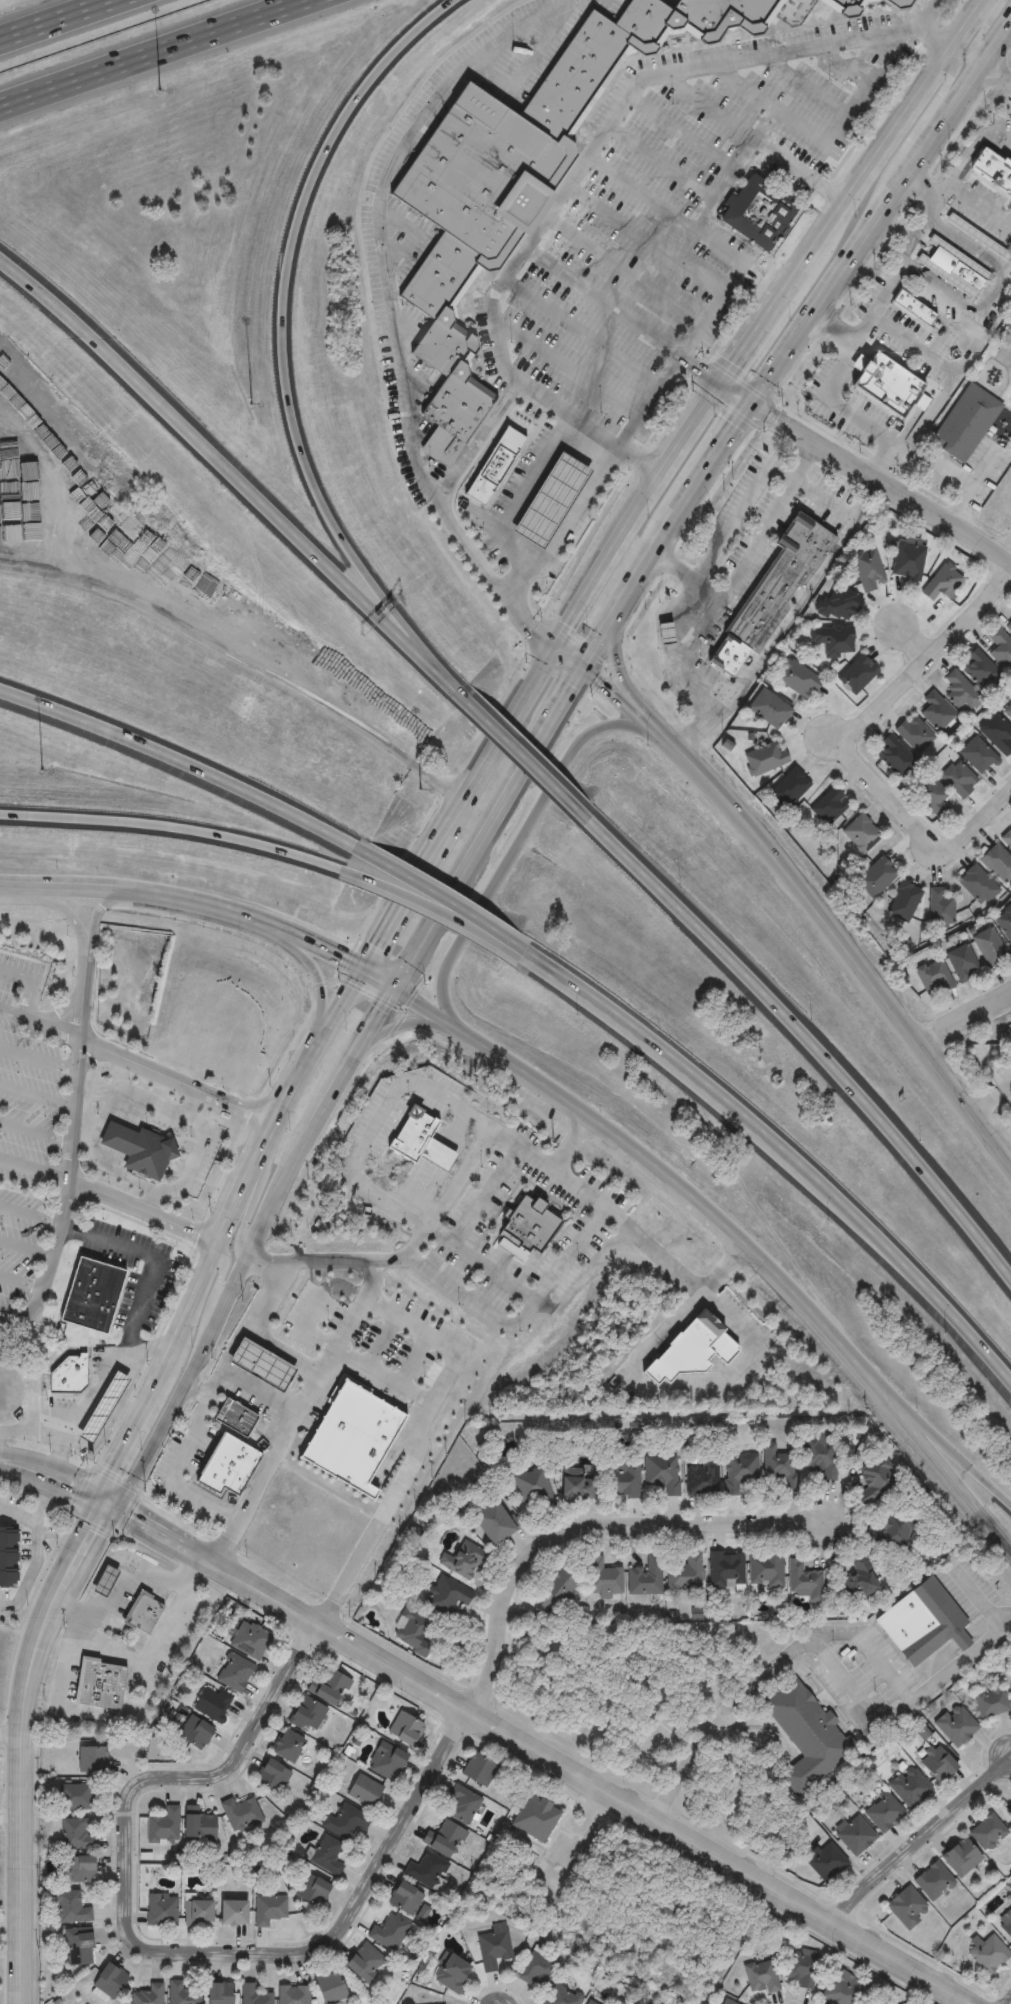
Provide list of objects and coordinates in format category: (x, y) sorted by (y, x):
building: (896, 3)
building: (843, 7)
road: (928, 13)
road: (57, 19)
road: (966, 21)
road: (936, 34)
road: (979, 34)
road: (999, 50)
road: (152, 53)
road: (999, 73)
road: (941, 90)
road: (961, 105)
road: (752, 138)
road: (972, 145)
road: (876, 152)
road: (925, 157)
building: (992, 170)
road: (572, 175)
building: (517, 180)
road: (939, 191)
road: (977, 206)
building: (757, 212)
parking lot: (688, 214)
building: (952, 269)
road: (791, 279)
road: (726, 286)
road: (835, 287)
road: (993, 291)
road: (393, 298)
building: (912, 308)
road: (751, 338)
road: (288, 346)
road: (700, 368)
road: (944, 368)
building: (840, 377)
traffic signals: (722, 382)
building: (885, 384)
road: (832, 396)
traffic signals: (755, 405)
building: (905, 425)
building: (966, 425)
road: (690, 427)
road: (483, 444)
road: (802, 460)
road: (715, 462)
building: (494, 466)
road: (237, 470)
road: (866, 470)
road: (954, 475)
road: (973, 485)
road: (521, 494)
building: (551, 502)
gas station: (551, 502)
road: (576, 506)
building: (8, 520)
road: (725, 532)
building: (115, 540)
building: (138, 547)
road: (607, 555)
building: (907, 559)
road: (745, 562)
building: (868, 571)
road: (647, 573)
building: (942, 583)
road: (529, 586)
building: (772, 595)
building: (837, 605)
road: (793, 613)
building: (1008, 626)
road: (201, 636)
traffic signals: (557, 640)
building: (831, 641)
road: (915, 642)
road: (602, 646)
building: (1000, 650)
road: (682, 651)
road: (573, 654)
gas station: (727, 657)
road: (615, 668)
traffic signals: (589, 669)
building: (978, 671)
building: (856, 675)
building: (796, 680)
road: (609, 689)
building: (960, 693)
road: (572, 695)
building: (768, 710)
building: (936, 713)
building: (1008, 713)
road: (638, 718)
building: (913, 735)
building: (997, 735)
road: (834, 738)
road: (499, 739)
road: (660, 740)
road: (844, 747)
road: (177, 752)
road: (526, 756)
building: (977, 757)
building: (893, 758)
building: (764, 759)
building: (957, 780)
building: (788, 788)
building: (932, 799)
building: (828, 807)
road: (171, 828)
building: (861, 834)
building: (1007, 841)
road: (476, 852)
road: (516, 853)
building: (997, 864)
building: (875, 878)
building: (977, 886)
road: (208, 899)
road: (49, 901)
road: (403, 902)
building: (903, 903)
road: (448, 905)
road: (101, 906)
building: (940, 908)
road: (443, 917)
building: (1003, 924)
building: (988, 948)
road: (849, 953)
building: (961, 965)
traffic signals: (366, 966)
building: (932, 979)
road: (316, 982)
road: (29, 983)
traffic signals: (398, 986)
road: (342, 1007)
road: (969, 1017)
road: (38, 1020)
road: (404, 1025)
building: (1010, 1028)
road: (806, 1038)
road: (37, 1060)
road: (535, 1076)
road: (178, 1080)
road: (36, 1097)
road: (333, 1101)
road: (196, 1102)
road: (993, 1103)
road: (374, 1123)
road: (99, 1124)
road: (35, 1132)
road: (570, 1139)
building: (419, 1141)
road: (70, 1148)
road: (270, 1148)
building: (137, 1149)
road: (534, 1152)
road: (194, 1159)
road: (791, 1161)
road: (33, 1171)
road: (152, 1203)
road: (478, 1208)
road: (701, 1211)
road: (144, 1213)
road: (30, 1216)
road: (246, 1216)
building: (525, 1229)
road: (26, 1248)
road: (321, 1261)
road: (722, 1264)
road: (492, 1271)
road: (146, 1278)
road: (217, 1290)
building: (89, 1295)
road: (312, 1306)
road: (801, 1306)
road: (191, 1307)
road: (519, 1318)
road: (237, 1339)
road: (381, 1342)
building: (690, 1351)
road: (280, 1352)
road: (413, 1360)
road: (197, 1363)
building: (266, 1366)
gas station: (266, 1366)
building: (68, 1376)
road: (381, 1376)
road: (675, 1388)
road: (257, 1392)
building: (90, 1406)
gas station: (90, 1406)
road: (297, 1407)
road: (128, 1408)
building: (234, 1415)
road: (108, 1424)
road: (36, 1428)
road: (129, 1429)
building: (353, 1433)
road: (937, 1434)
road: (421, 1443)
building: (820, 1457)
road: (937, 1459)
building: (228, 1464)
road: (52, 1465)
building: (779, 1465)
road: (175, 1470)
building: (740, 1471)
building: (662, 1473)
building: (702, 1478)
building: (622, 1480)
building: (872, 1481)
road: (47, 1486)
building: (576, 1487)
traffic signals: (100, 1490)
building: (532, 1490)
road: (97, 1496)
road: (110, 1499)
traffic signals: (95, 1503)
road: (43, 1505)
road: (107, 1505)
traffic signals: (120, 1508)
road: (93, 1514)
road: (106, 1517)
road: (583, 1521)
building: (491, 1523)
road: (111, 1532)
building: (889, 1532)
road: (36, 1548)
building: (9, 1555)
building: (464, 1559)
building: (726, 1569)
building: (766, 1570)
building: (685, 1573)
road: (126, 1574)
building: (645, 1577)
building: (603, 1578)
building: (858, 1578)
building: (105, 1579)
gas station: (105, 1579)
building: (804, 1581)
building: (557, 1588)
building: (447, 1596)
road: (981, 1604)
road: (6, 1605)
building: (141, 1614)
building: (923, 1624)
building: (412, 1633)
building: (248, 1640)
road: (30, 1668)
building: (233, 1673)
building: (100, 1685)
building: (327, 1687)
road: (856, 1695)
road: (903, 1696)
building: (992, 1702)
building: (211, 1704)
building: (306, 1713)
road: (113, 1715)
road: (720, 1719)
building: (957, 1726)
building: (404, 1729)
road: (12, 1730)
building: (193, 1734)
building: (807, 1737)
building: (285, 1746)
road: (545, 1757)
building: (91, 1760)
building: (385, 1761)
building: (939, 1765)
building: (477, 1770)
road: (186, 1776)
building: (271, 1776)
building: (910, 1787)
building: (363, 1791)
building: (73, 1797)
building: (462, 1805)
building: (240, 1813)
building: (884, 1813)
building: (1009, 1814)
building: (535, 1818)
building: (344, 1822)
road: (12, 1824)
building: (163, 1826)
building: (199, 1827)
building: (988, 1832)
building: (74, 1834)
building: (856, 1836)
building: (442, 1839)
road: (925, 1845)
building: (326, 1855)
building: (961, 1857)
building: (79, 1869)
building: (425, 1870)
building: (933, 1881)
building: (310, 1890)
building: (403, 1899)
building: (906, 1907)
building: (69, 1908)
building: (268, 1908)
building: (161, 1910)
building: (197, 1912)
building: (231, 1912)
road: (23, 1914)
road: (346, 1917)
building: (1005, 1923)
building: (388, 1932)
building: (77, 1947)
building: (492, 1949)
building: (989, 1953)
building: (364, 1962)
building: (801, 1967)
building: (536, 1970)
building: (451, 1973)
building: (761, 1976)
building: (108, 1981)
building: (329, 1988)
building: (840, 1989)
building: (218, 1993)
building: (181, 1994)
building: (147, 1995)
building: (251, 1995)
building: (291, 1995)
building: (561, 1996)
building: (592, 2001)
building: (727, 2002)

